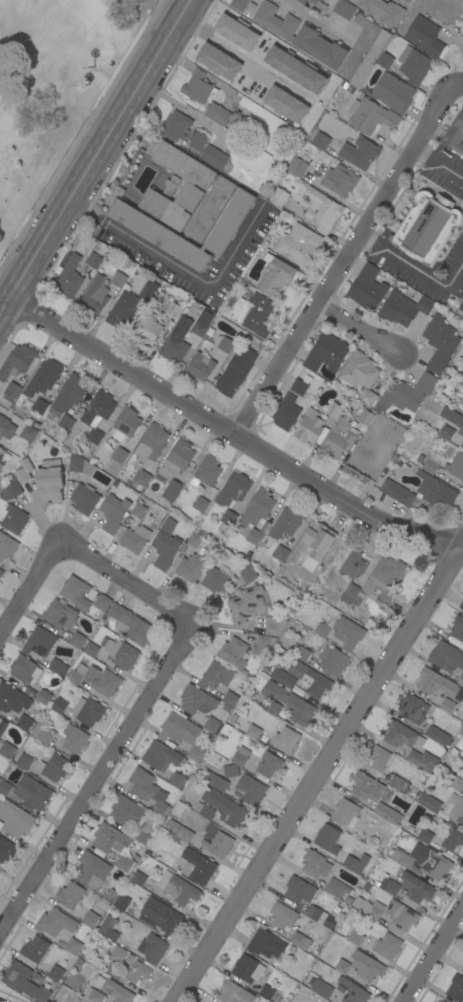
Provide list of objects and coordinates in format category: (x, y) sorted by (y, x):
building: (348, 0)
building: (238, 4)
building: (315, 5)
building: (344, 9)
building: (383, 11)
road: (312, 17)
building: (229, 34)
building: (300, 35)
building: (424, 36)
building: (257, 40)
road: (228, 45)
building: (288, 49)
building: (209, 58)
building: (372, 58)
building: (272, 59)
building: (414, 66)
building: (242, 78)
road: (456, 86)
park: (55, 87)
building: (198, 87)
building: (393, 92)
building: (285, 104)
road: (186, 111)
building: (217, 113)
building: (369, 115)
building: (174, 125)
building: (455, 133)
building: (197, 141)
building: (320, 141)
building: (359, 152)
road: (421, 152)
road: (95, 156)
building: (213, 157)
road: (446, 166)
building: (297, 167)
building: (339, 180)
building: (170, 184)
building: (279, 196)
building: (185, 208)
building: (322, 210)
building: (428, 227)
road: (365, 238)
building: (298, 245)
building: (93, 260)
road: (343, 261)
road: (180, 268)
road: (420, 271)
building: (68, 277)
building: (278, 277)
building: (118, 279)
building: (367, 288)
building: (148, 290)
building: (94, 296)
building: (461, 306)
building: (403, 308)
building: (122, 310)
building: (173, 310)
building: (254, 314)
building: (201, 323)
road: (360, 328)
building: (146, 330)
building: (176, 340)
building: (462, 340)
building: (223, 343)
building: (439, 343)
building: (326, 353)
building: (247, 356)
building: (17, 361)
building: (200, 366)
building: (358, 370)
building: (43, 377)
building: (229, 381)
building: (298, 386)
building: (12, 389)
building: (408, 392)
building: (69, 394)
building: (367, 397)
building: (461, 401)
building: (39, 406)
building: (333, 410)
building: (286, 413)
building: (97, 414)
building: (452, 416)
building: (365, 417)
building: (66, 422)
building: (126, 423)
building: (309, 427)
building: (6, 428)
building: (461, 430)
road: (232, 431)
building: (446, 432)
building: (28, 433)
building: (338, 439)
building: (462, 441)
building: (151, 442)
building: (1, 453)
building: (119, 455)
building: (420, 458)
building: (176, 459)
building: (80, 464)
building: (431, 464)
building: (455, 465)
building: (1, 466)
building: (206, 472)
building: (24, 474)
building: (142, 478)
building: (1, 486)
building: (233, 489)
building: (49, 490)
building: (171, 490)
building: (11, 491)
building: (397, 492)
building: (435, 492)
building: (84, 498)
building: (200, 503)
building: (112, 508)
building: (138, 510)
building: (256, 513)
building: (228, 517)
building: (14, 519)
building: (286, 522)
building: (134, 538)
building: (194, 539)
building: (164, 545)
building: (6, 546)
building: (312, 546)
building: (280, 553)
road: (48, 558)
building: (352, 565)
building: (191, 567)
building: (1, 572)
building: (247, 573)
building: (217, 578)
building: (384, 579)
building: (77, 593)
building: (351, 595)
building: (101, 602)
building: (246, 604)
building: (461, 605)
building: (59, 615)
building: (326, 621)
building: (130, 624)
building: (274, 625)
building: (457, 628)
building: (347, 633)
building: (77, 640)
building: (39, 642)
building: (262, 643)
building: (90, 649)
building: (233, 652)
building: (119, 653)
building: (302, 653)
building: (446, 657)
building: (333, 660)
building: (57, 667)
building: (24, 670)
building: (215, 675)
building: (283, 678)
building: (95, 679)
building: (309, 679)
building: (460, 679)
building: (438, 684)
building: (43, 696)
building: (229, 698)
building: (196, 700)
building: (290, 703)
building: (15, 704)
building: (58, 705)
building: (447, 705)
building: (271, 707)
building: (412, 708)
building: (88, 711)
building: (2, 725)
building: (211, 725)
building: (178, 729)
building: (253, 732)
building: (41, 733)
building: (399, 734)
building: (436, 735)
building: (285, 740)
building: (73, 741)
road: (116, 747)
building: (7, 750)
building: (196, 751)
building: (161, 756)
building: (378, 758)
building: (422, 760)
building: (24, 761)
building: (235, 762)
building: (268, 764)
building: (53, 767)
road: (318, 773)
building: (177, 780)
building: (215, 781)
building: (454, 782)
building: (398, 784)
building: (366, 786)
building: (147, 789)
building: (249, 790)
building: (27, 791)
building: (429, 803)
building: (225, 807)
building: (456, 808)
building: (202, 809)
building: (127, 811)
building: (346, 813)
building: (387, 813)
building: (15, 818)
building: (172, 826)
building: (184, 834)
building: (142, 835)
building: (424, 836)
building: (109, 838)
building: (452, 840)
building: (326, 841)
building: (219, 844)
building: (6, 850)
building: (406, 860)
building: (124, 863)
building: (355, 863)
building: (433, 863)
building: (315, 864)
building: (197, 867)
building: (91, 870)
building: (138, 878)
building: (163, 878)
building: (389, 886)
building: (336, 888)
building: (181, 890)
building: (299, 890)
building: (415, 890)
building: (69, 894)
building: (121, 901)
building: (369, 908)
building: (316, 914)
building: (161, 915)
building: (282, 915)
building: (398, 917)
building: (90, 919)
building: (55, 922)
building: (107, 928)
building: (355, 938)
building: (300, 940)
building: (263, 944)
building: (72, 946)
building: (387, 946)
building: (35, 948)
building: (152, 948)
road: (432, 952)
building: (117, 953)
building: (342, 966)
building: (365, 966)
building: (247, 969)
building: (137, 972)
building: (55, 973)
building: (462, 974)
building: (24, 981)
building: (321, 988)
building: (456, 988)
building: (113, 989)
building: (352, 991)
building: (266, 992)
building: (234, 993)
building: (93, 996)
building: (436, 1001)
building: (439, 1001)
building: (462, 1001)

